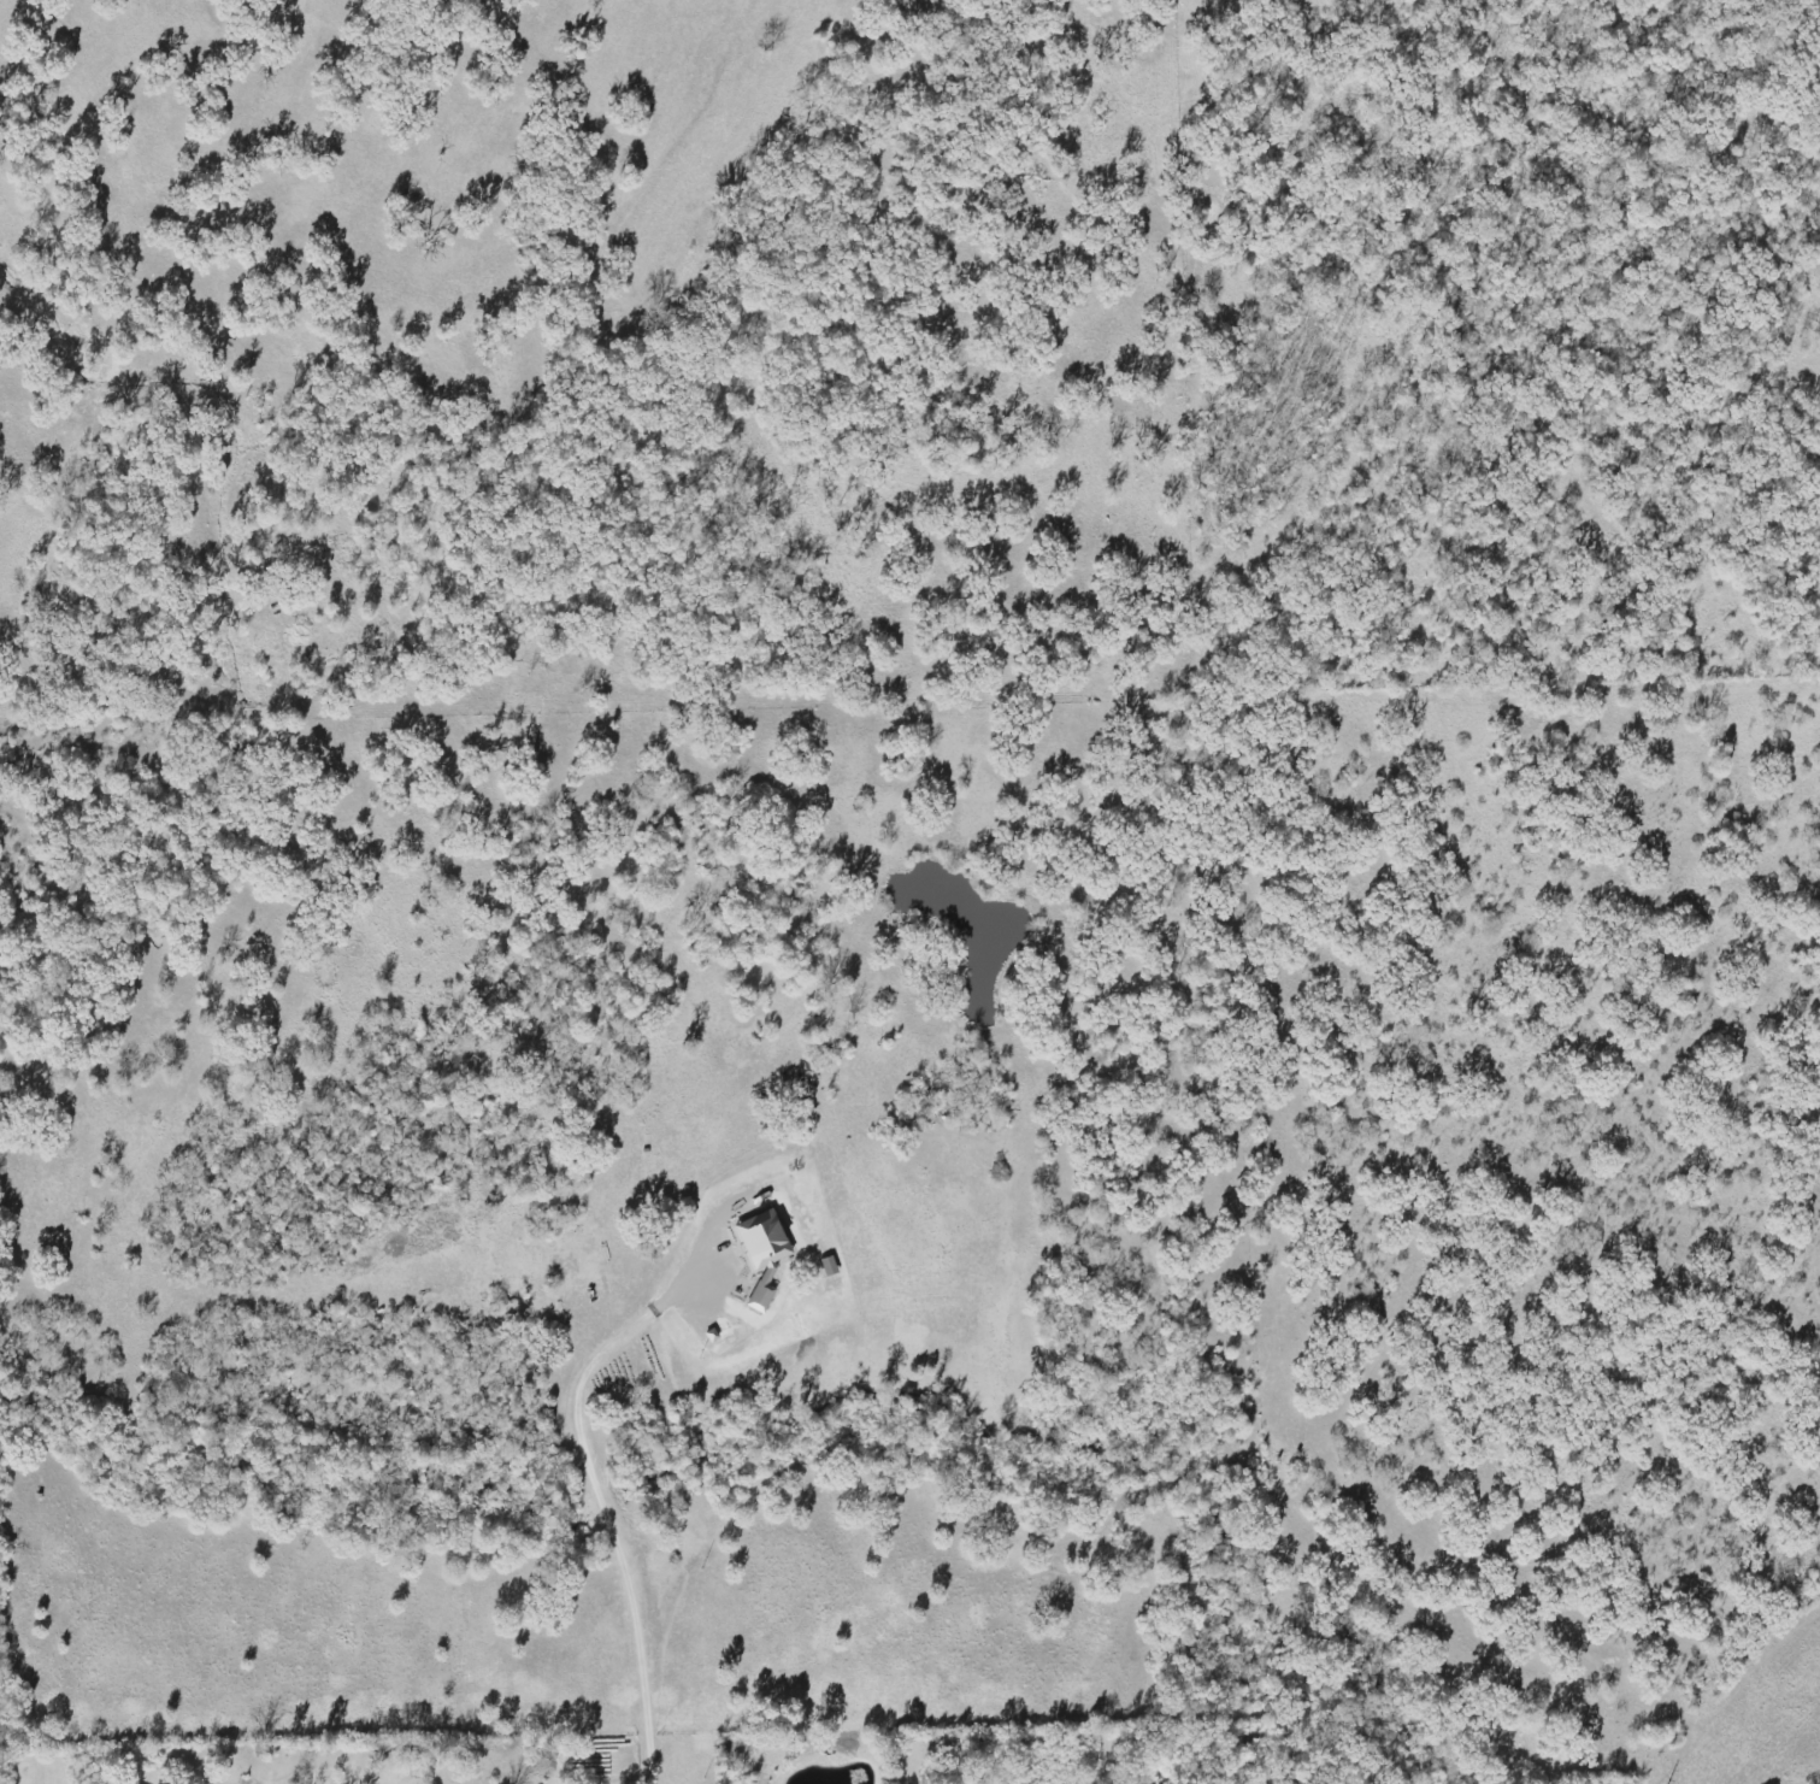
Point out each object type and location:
building: (762, 1253)
building: (827, 1265)
road: (602, 1489)

